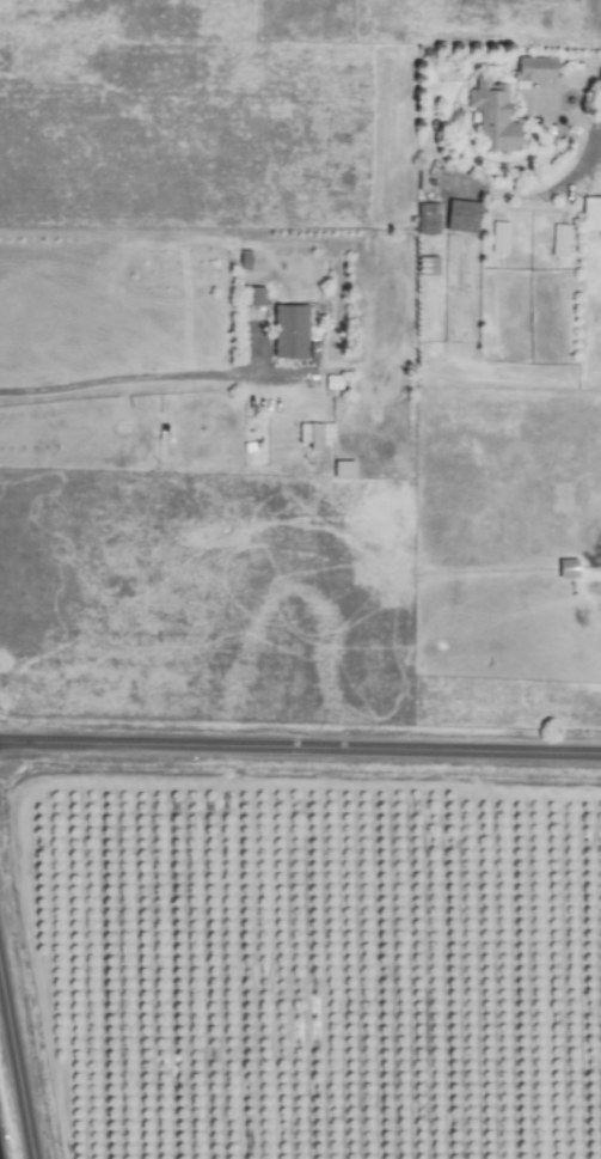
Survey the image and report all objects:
building: (533, 67)
road: (591, 74)
road: (556, 114)
building: (492, 115)
building: (590, 213)
building: (460, 215)
building: (427, 216)
building: (498, 237)
building: (558, 239)
building: (427, 264)
building: (252, 295)
building: (288, 331)
road: (148, 373)
building: (332, 382)
building: (314, 433)
building: (342, 468)
building: (566, 568)
road: (300, 751)
road: (14, 1079)

